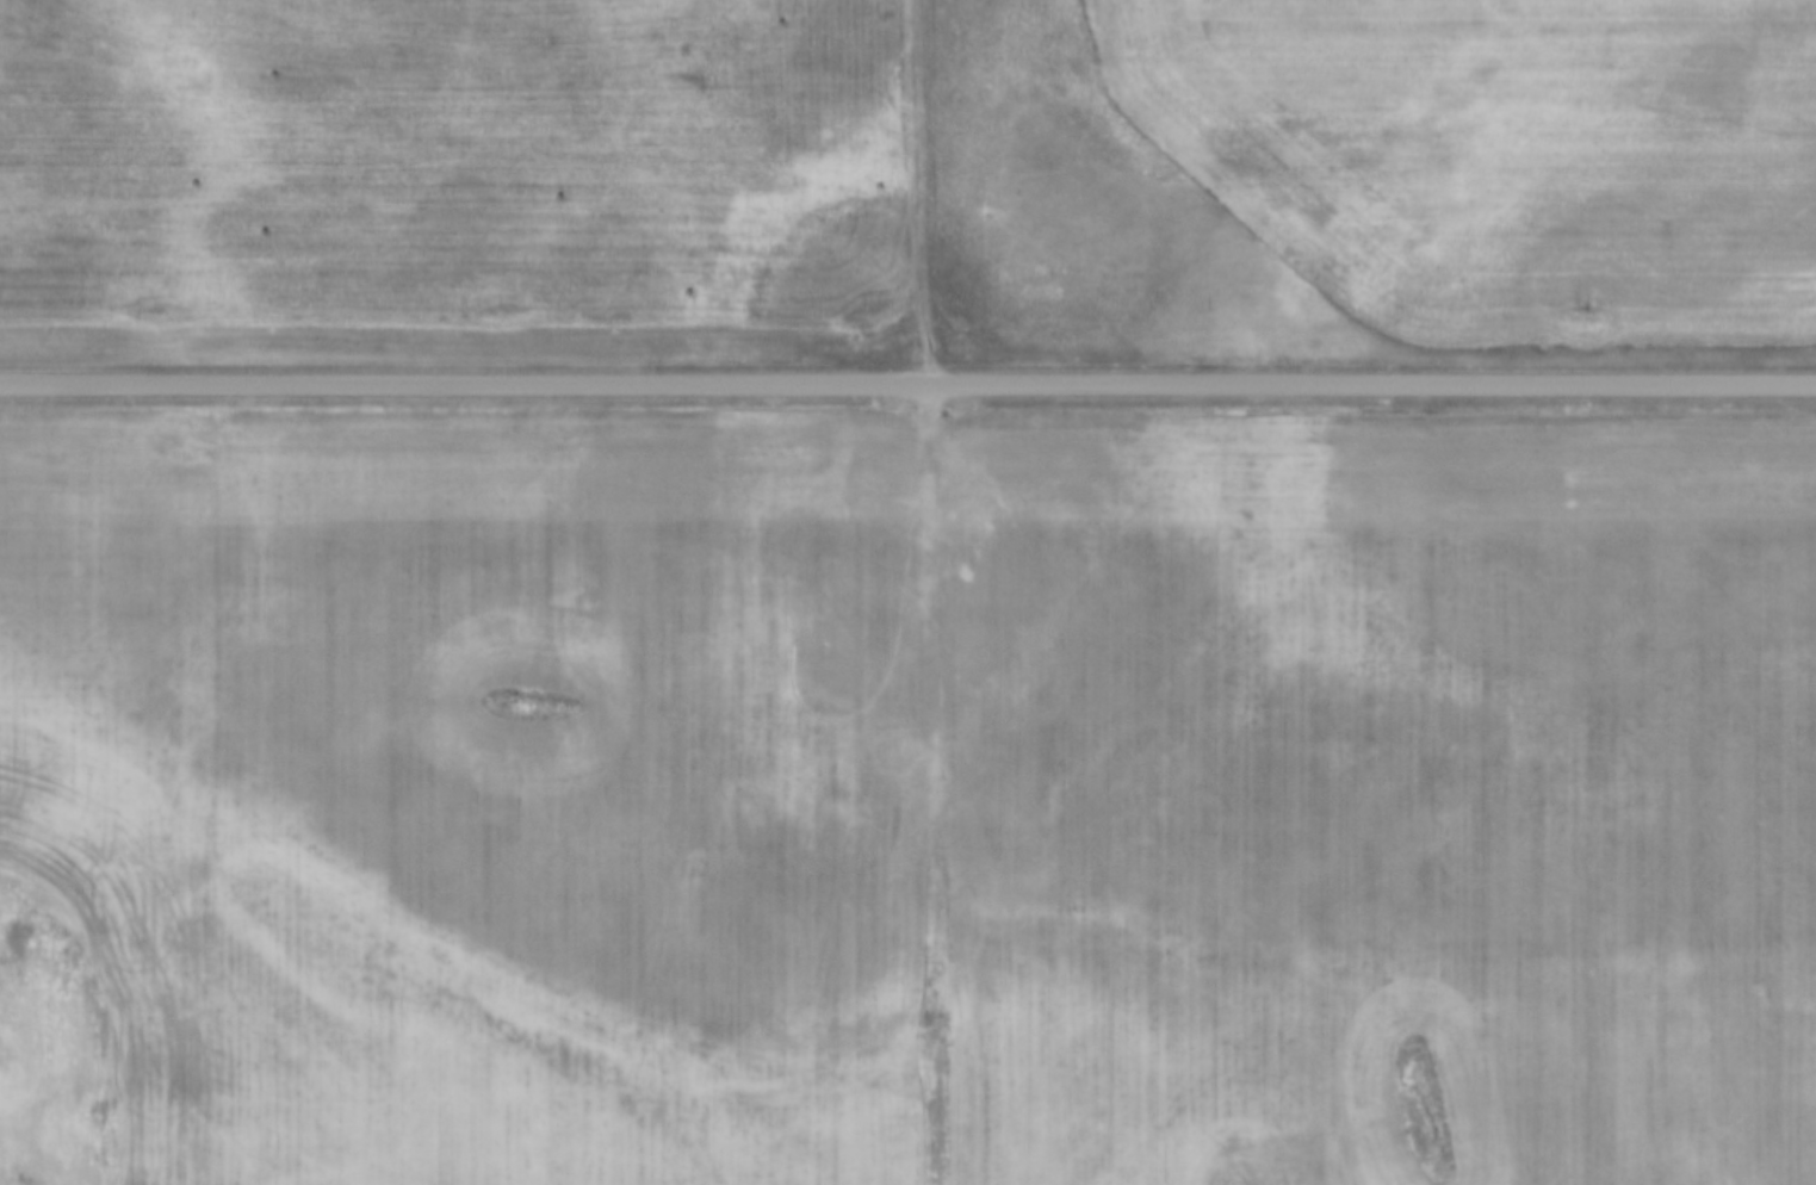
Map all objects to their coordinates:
road: (923, 192)
road: (907, 384)

